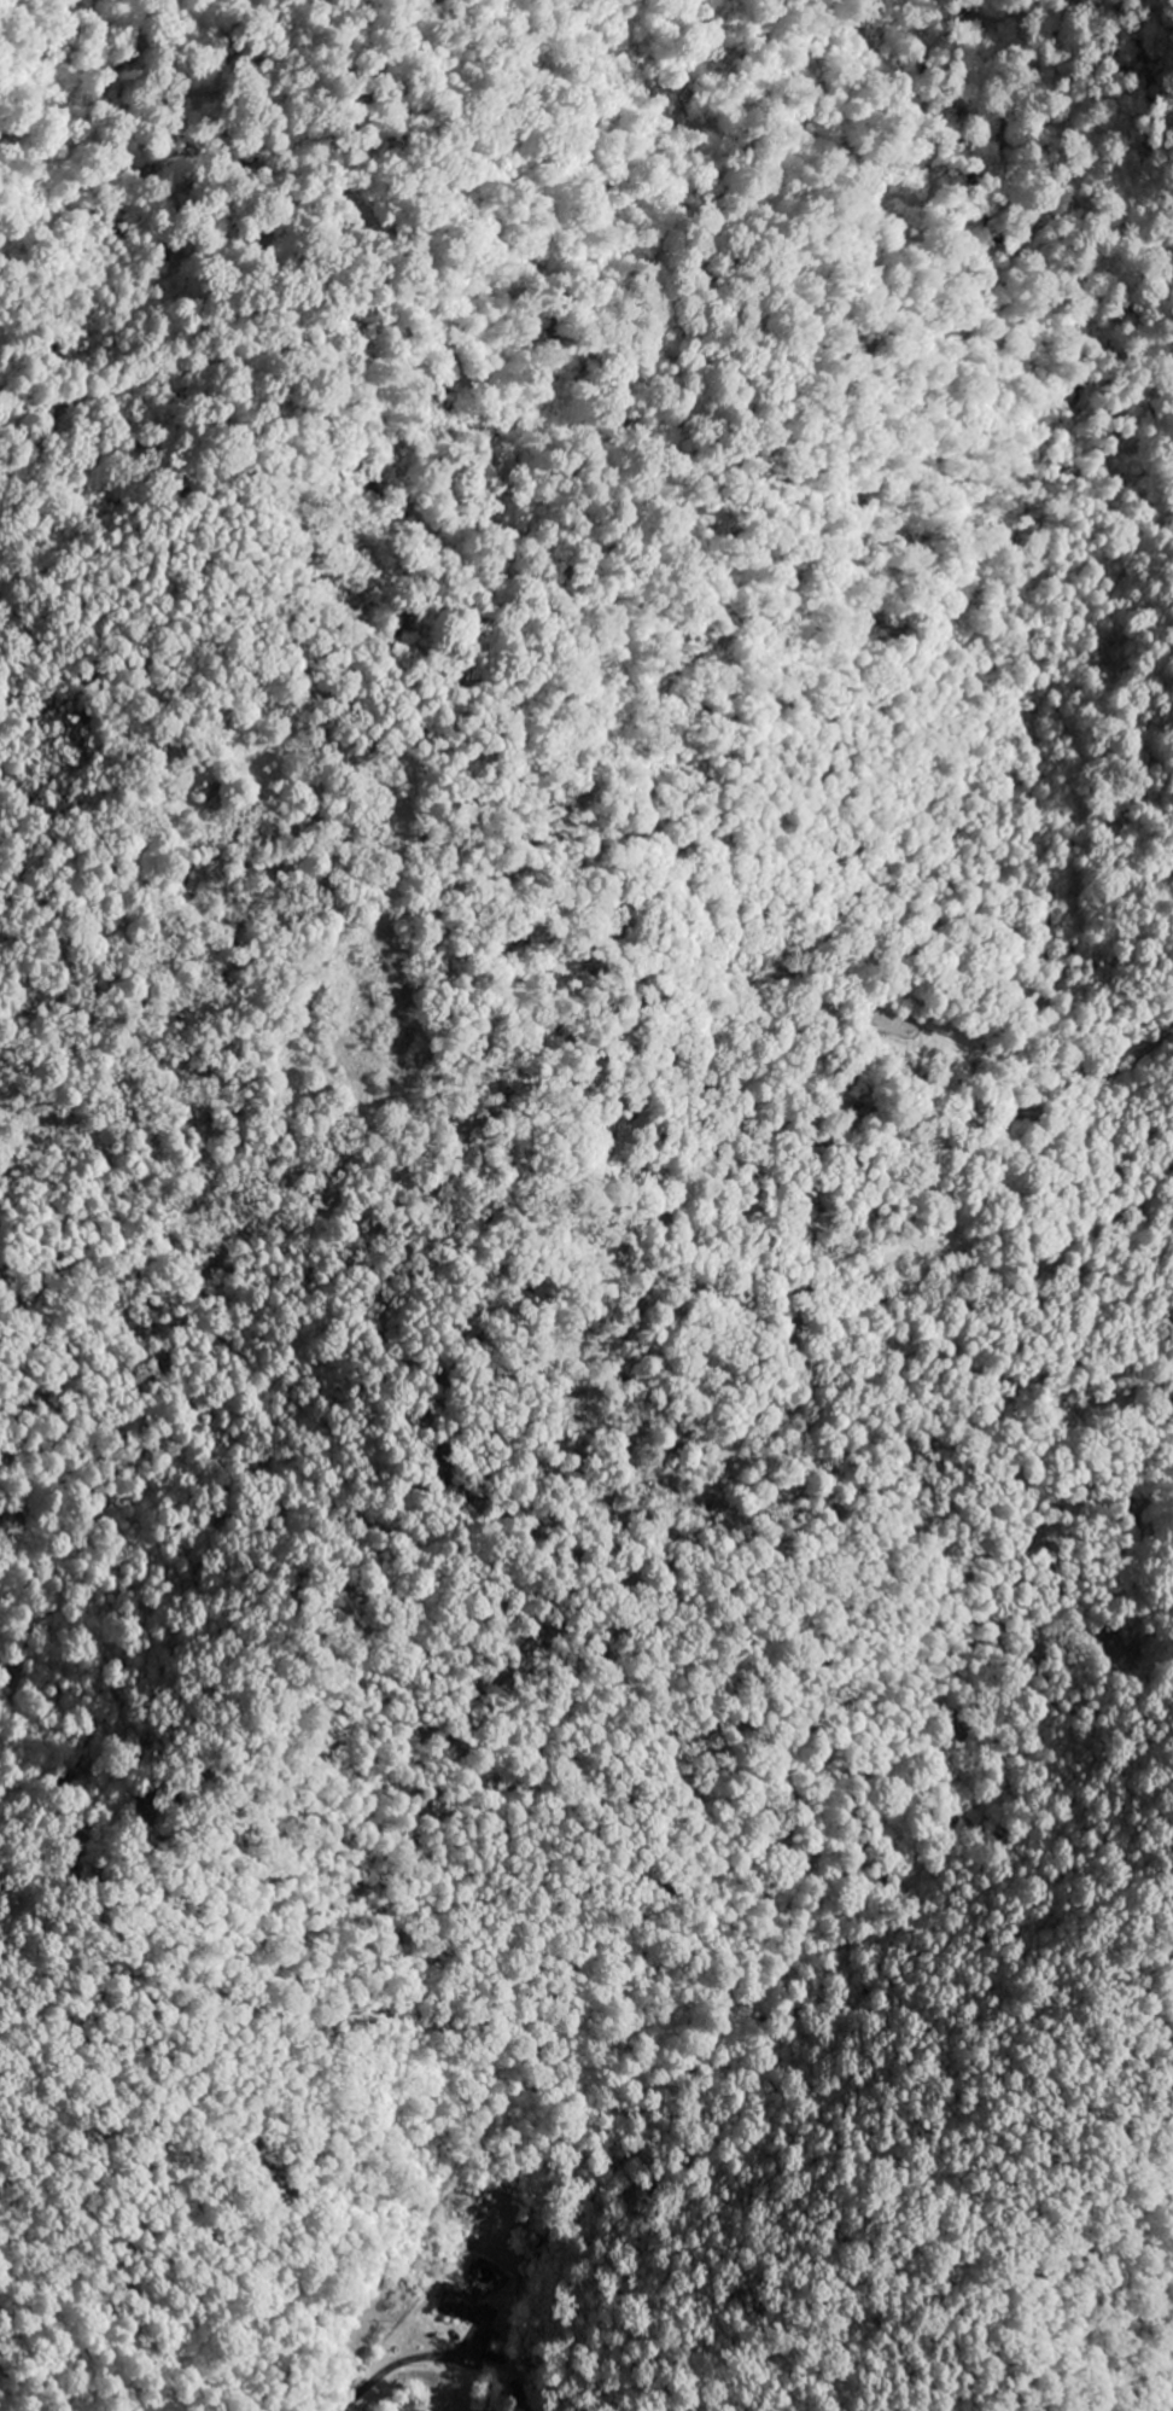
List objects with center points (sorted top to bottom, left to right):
building: (469, 2310)

